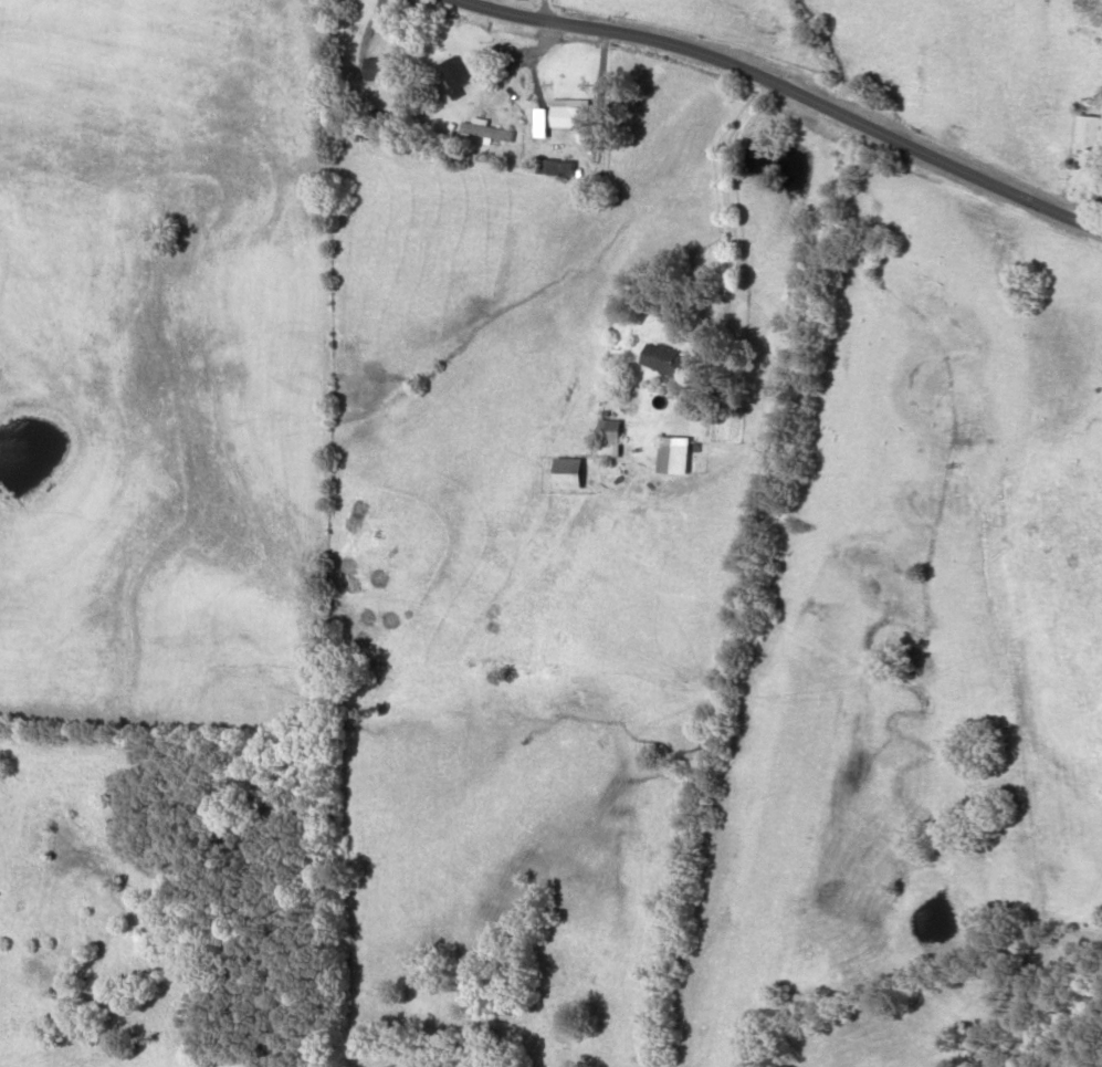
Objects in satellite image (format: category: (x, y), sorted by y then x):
building: (378, 69)
building: (452, 76)
road: (783, 86)
building: (567, 113)
building: (1087, 129)
building: (484, 130)
building: (554, 168)
building: (663, 360)
building: (608, 439)
building: (566, 473)

